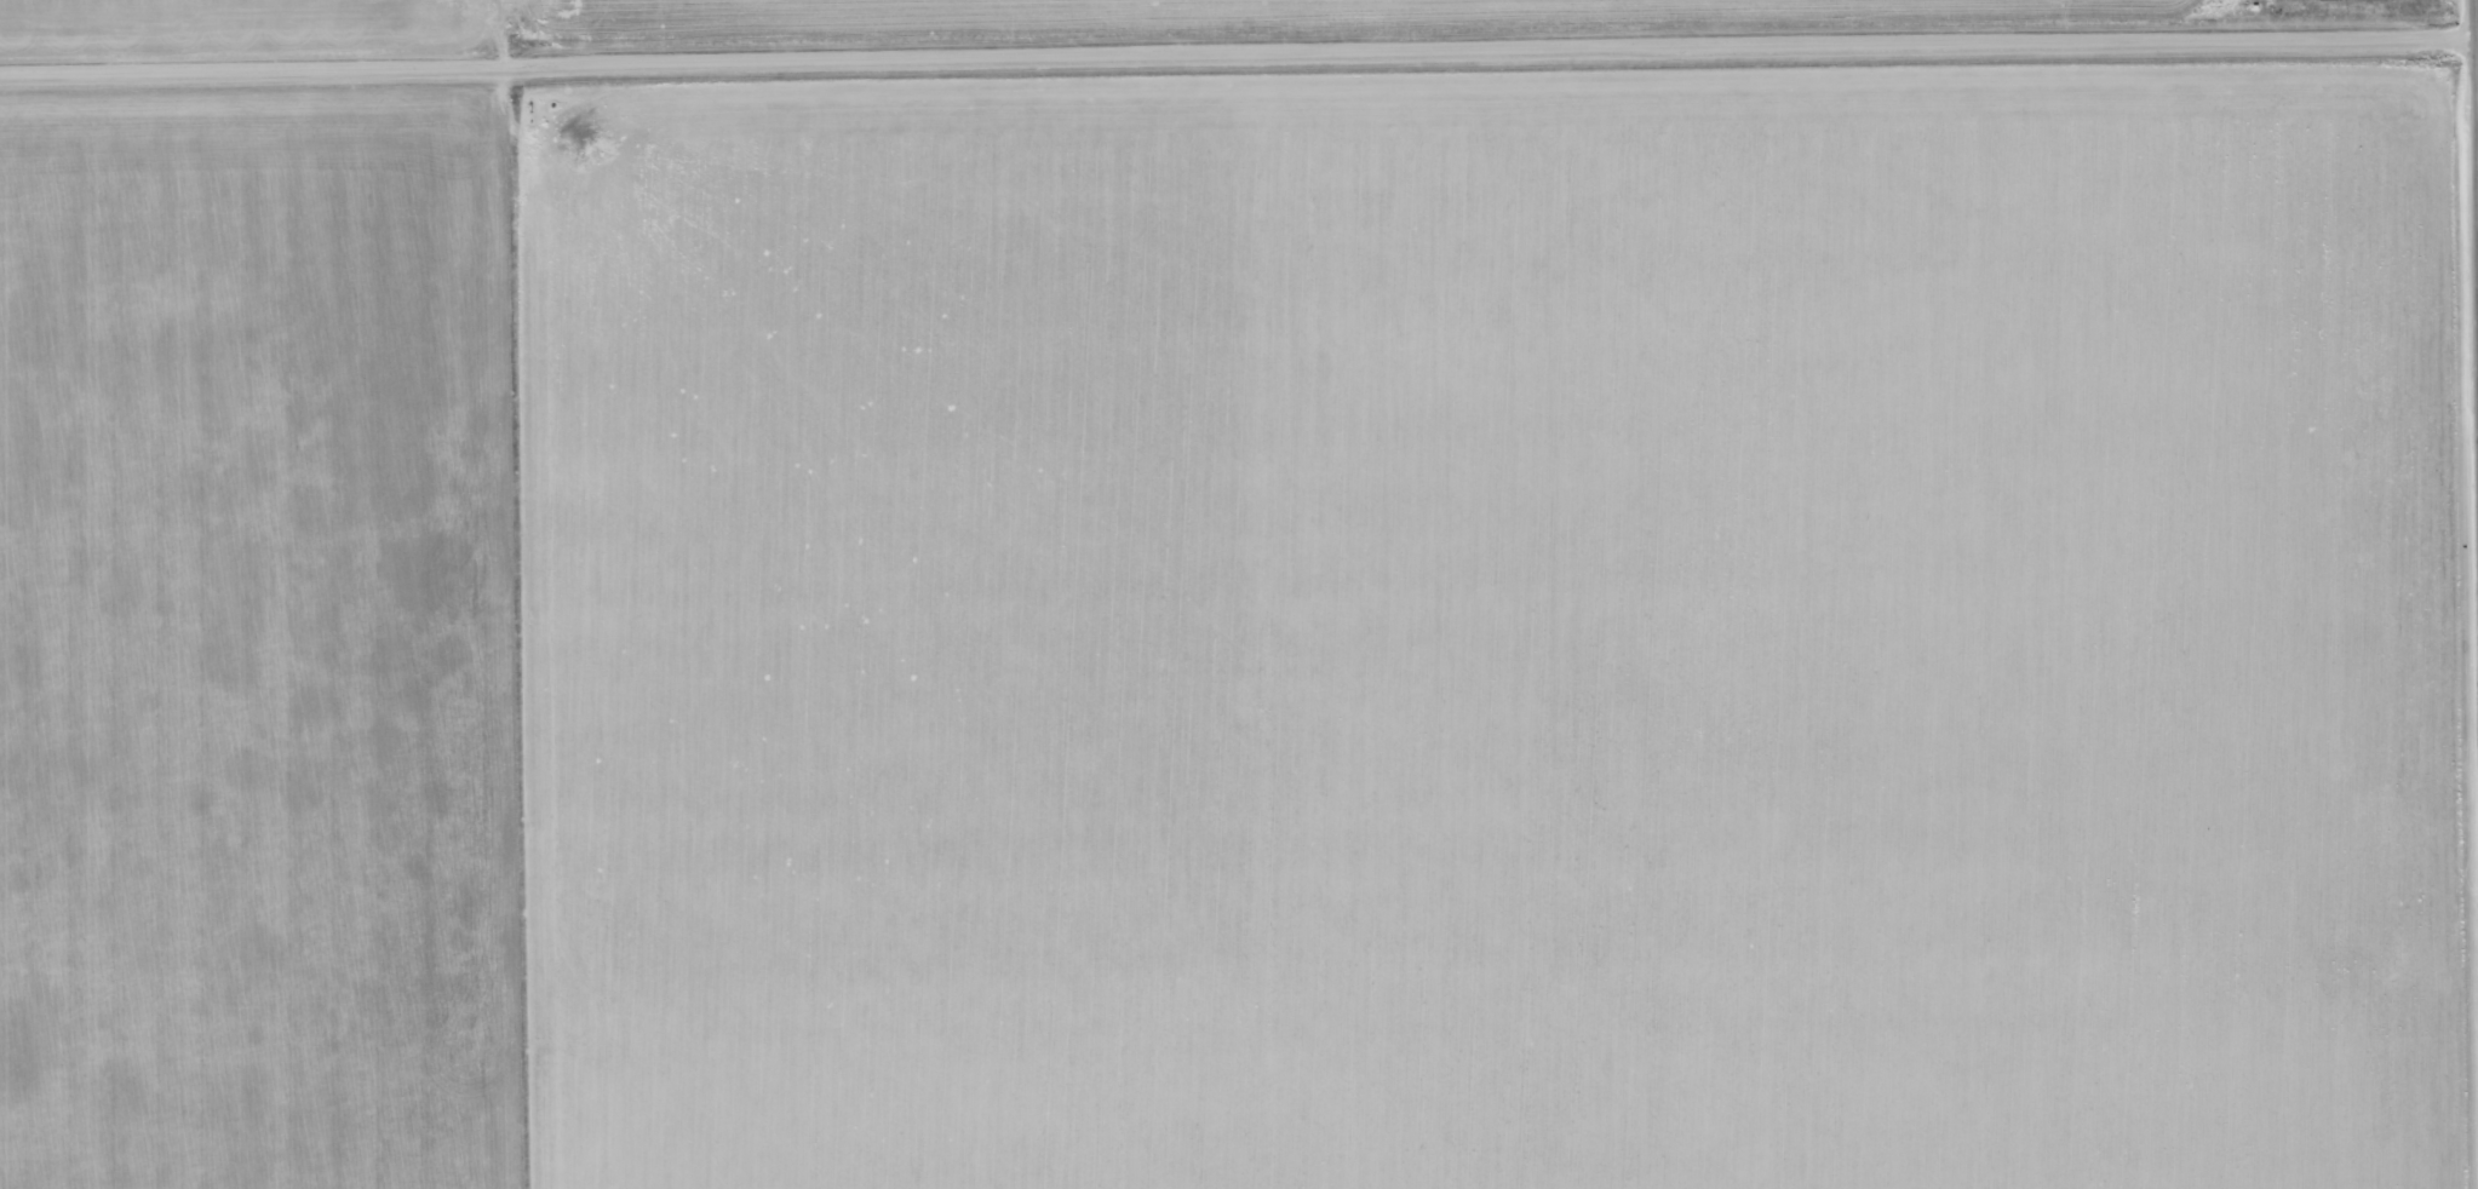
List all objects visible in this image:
road: (1237, 52)
road: (2476, 148)
road: (539, 627)

